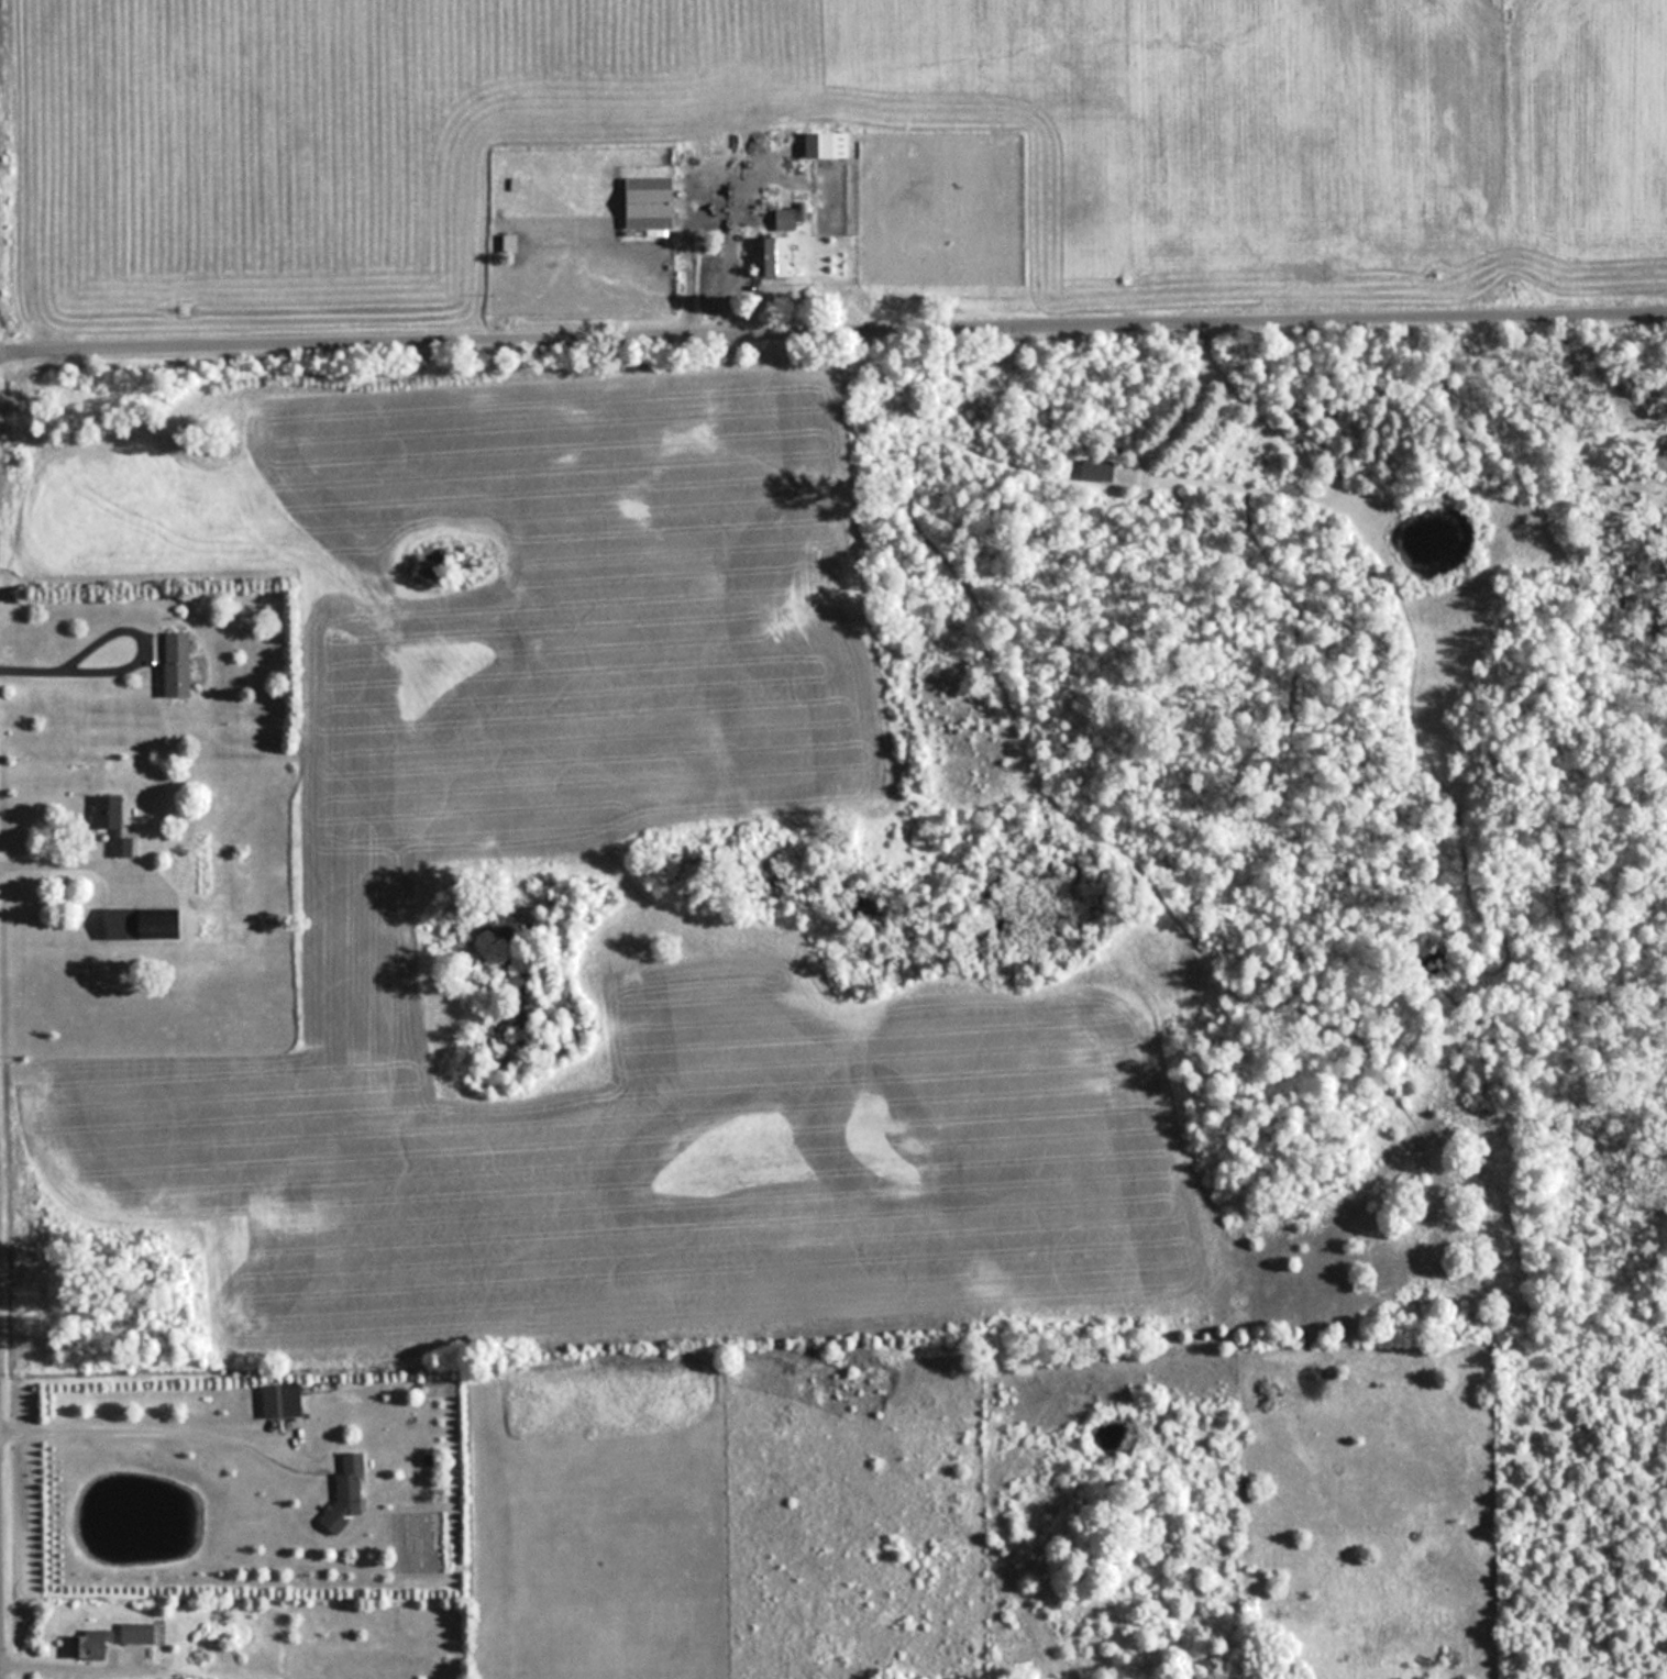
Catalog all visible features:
building: (829, 145)
building: (837, 196)
building: (652, 203)
building: (787, 219)
building: (511, 242)
building: (781, 253)
road: (833, 334)
building: (1100, 470)
building: (179, 665)
road: (76, 669)
building: (114, 822)
road: (71, 862)
building: (124, 924)
building: (278, 1401)
road: (156, 1428)
building: (349, 1491)
building: (140, 1632)
building: (91, 1643)

